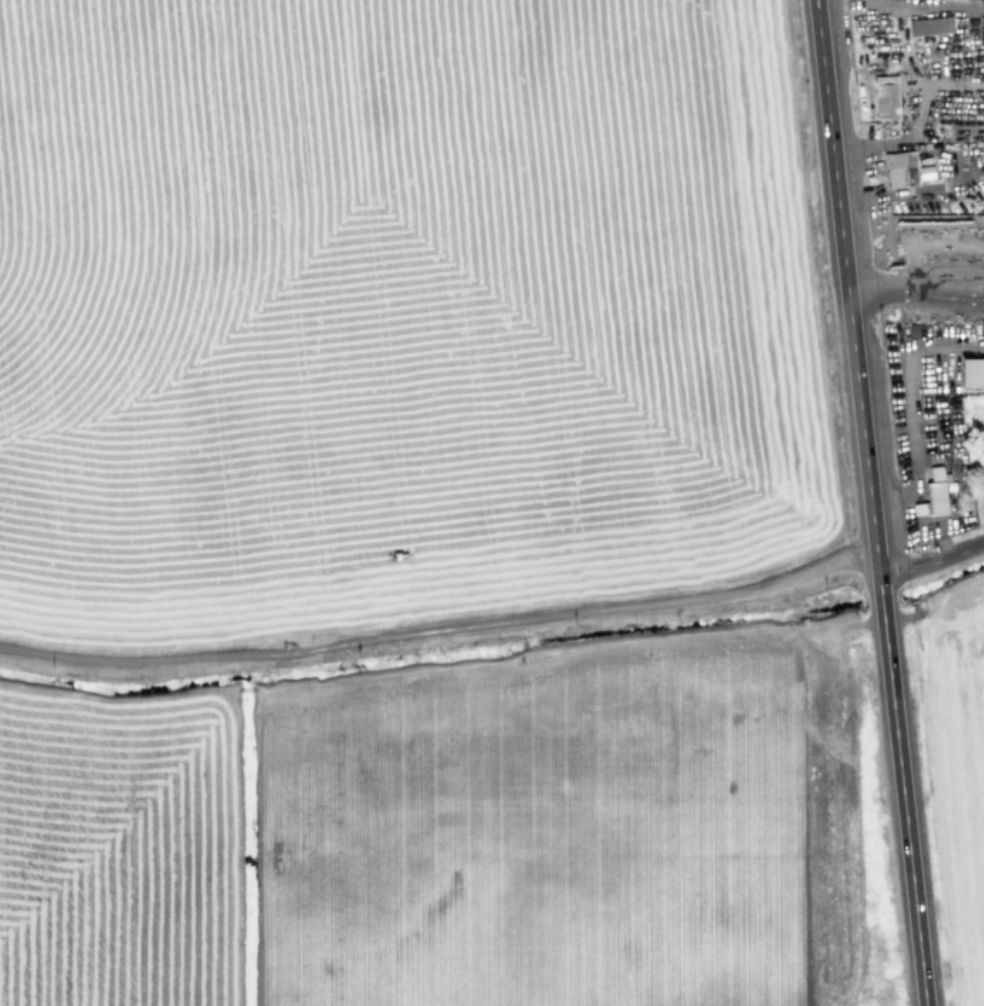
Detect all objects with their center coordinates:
building: (930, 25)
building: (887, 97)
building: (900, 168)
road: (914, 286)
road: (918, 342)
building: (972, 372)
building: (936, 472)
building: (936, 496)
road: (869, 503)
building: (919, 508)
crop: (394, 514)
road: (931, 562)
crop: (968, 744)

